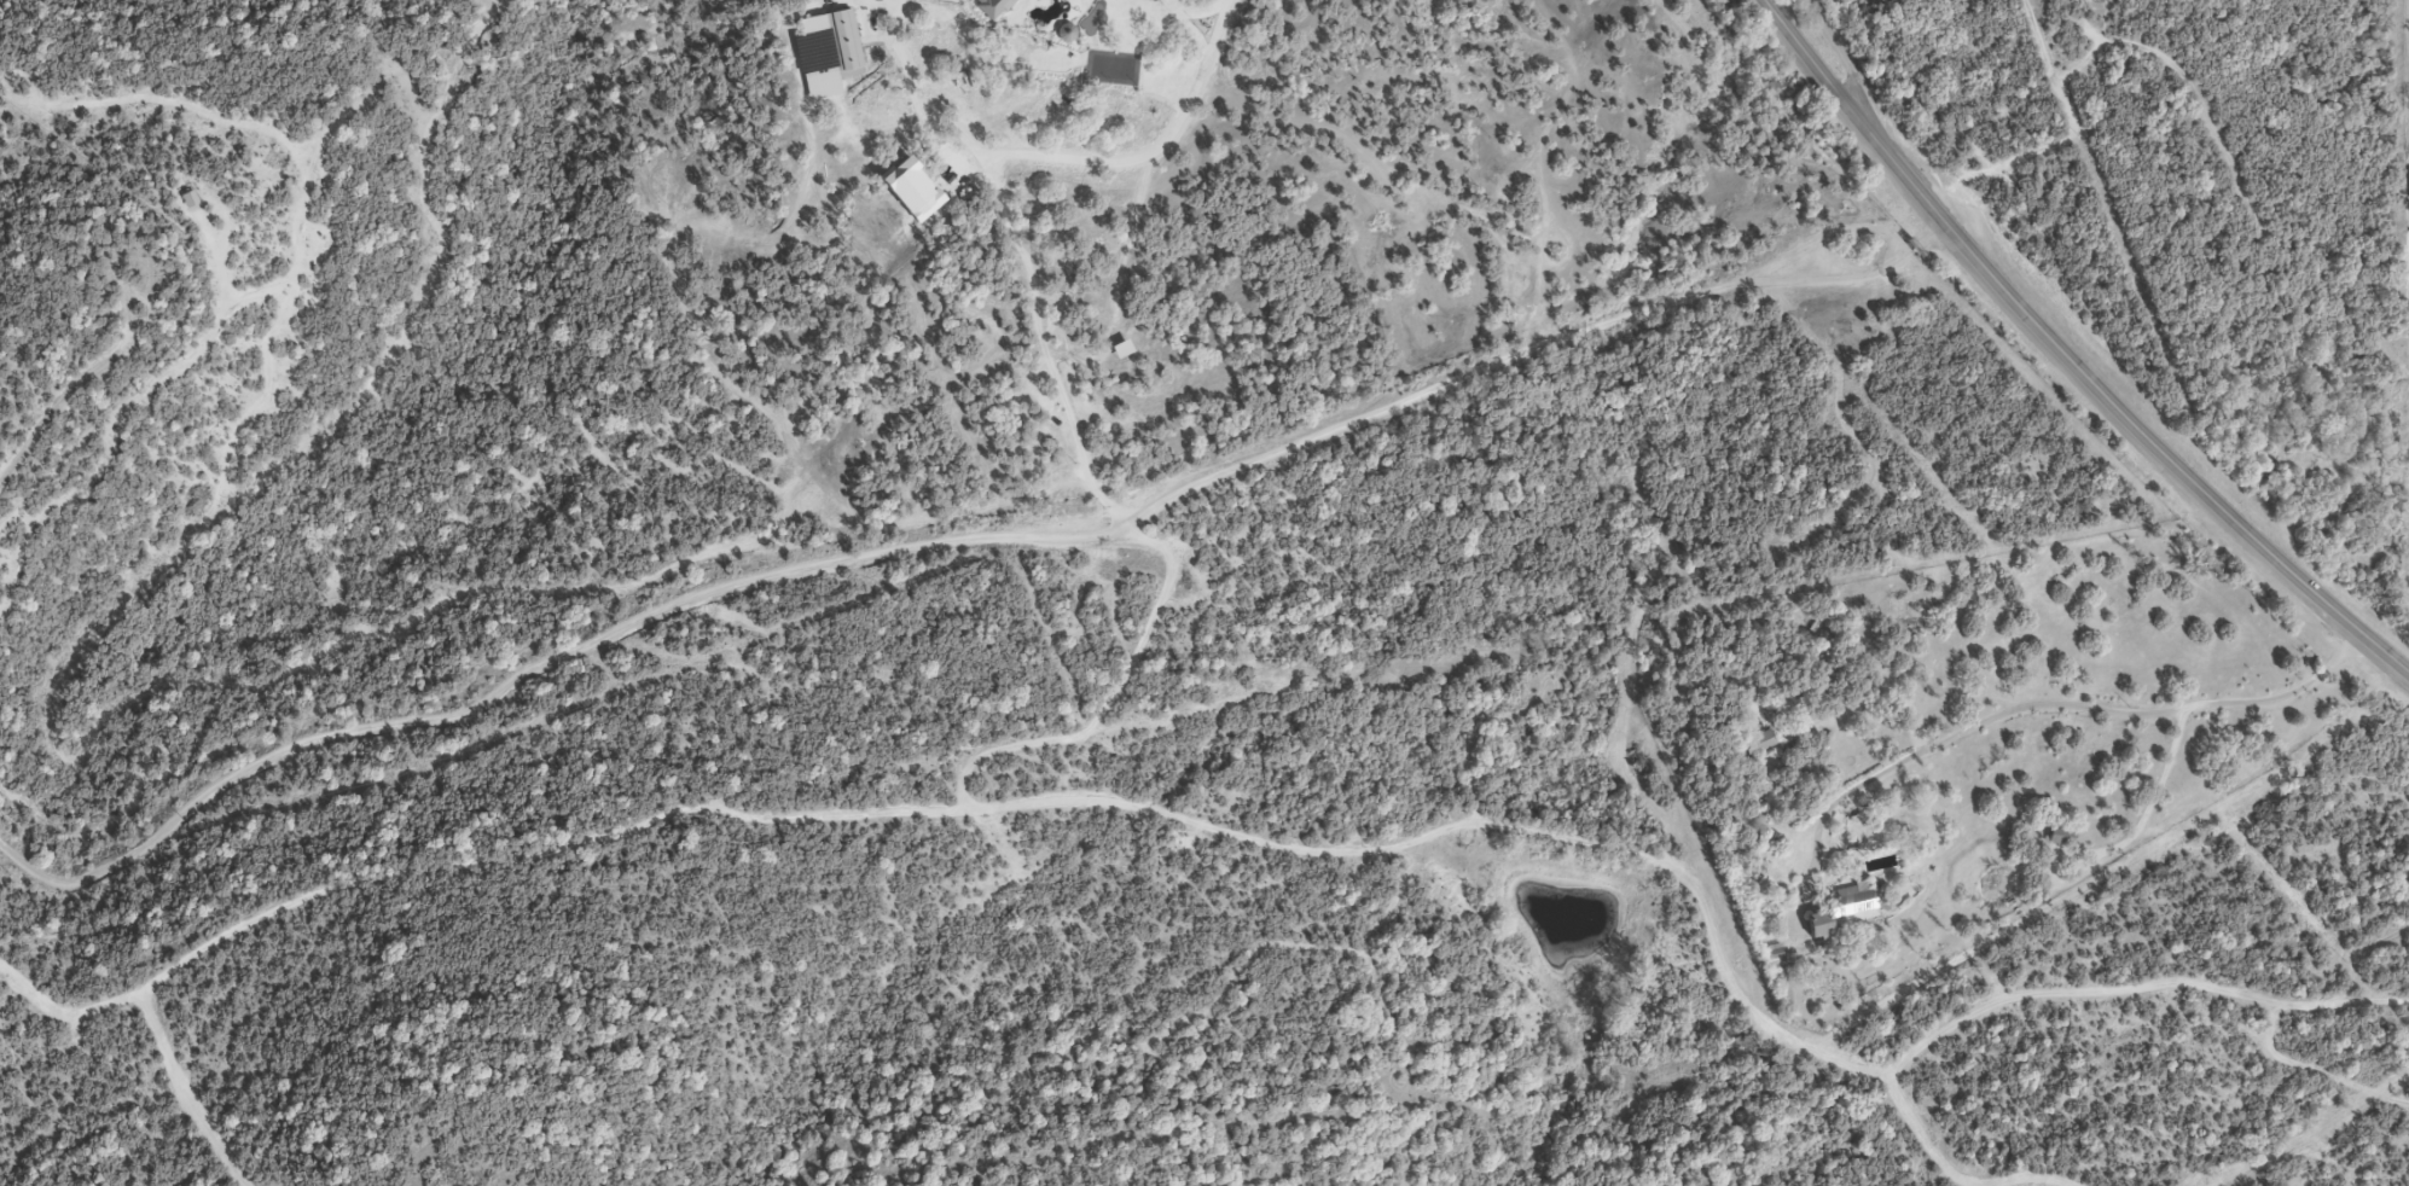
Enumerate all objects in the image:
road: (1196, 4)
road: (883, 30)
road: (1805, 36)
building: (838, 41)
road: (2063, 351)
road: (958, 539)
road: (2045, 705)
building: (1755, 745)
road: (2153, 797)
building: (2056, 836)
building: (1851, 903)
building: (1815, 925)

